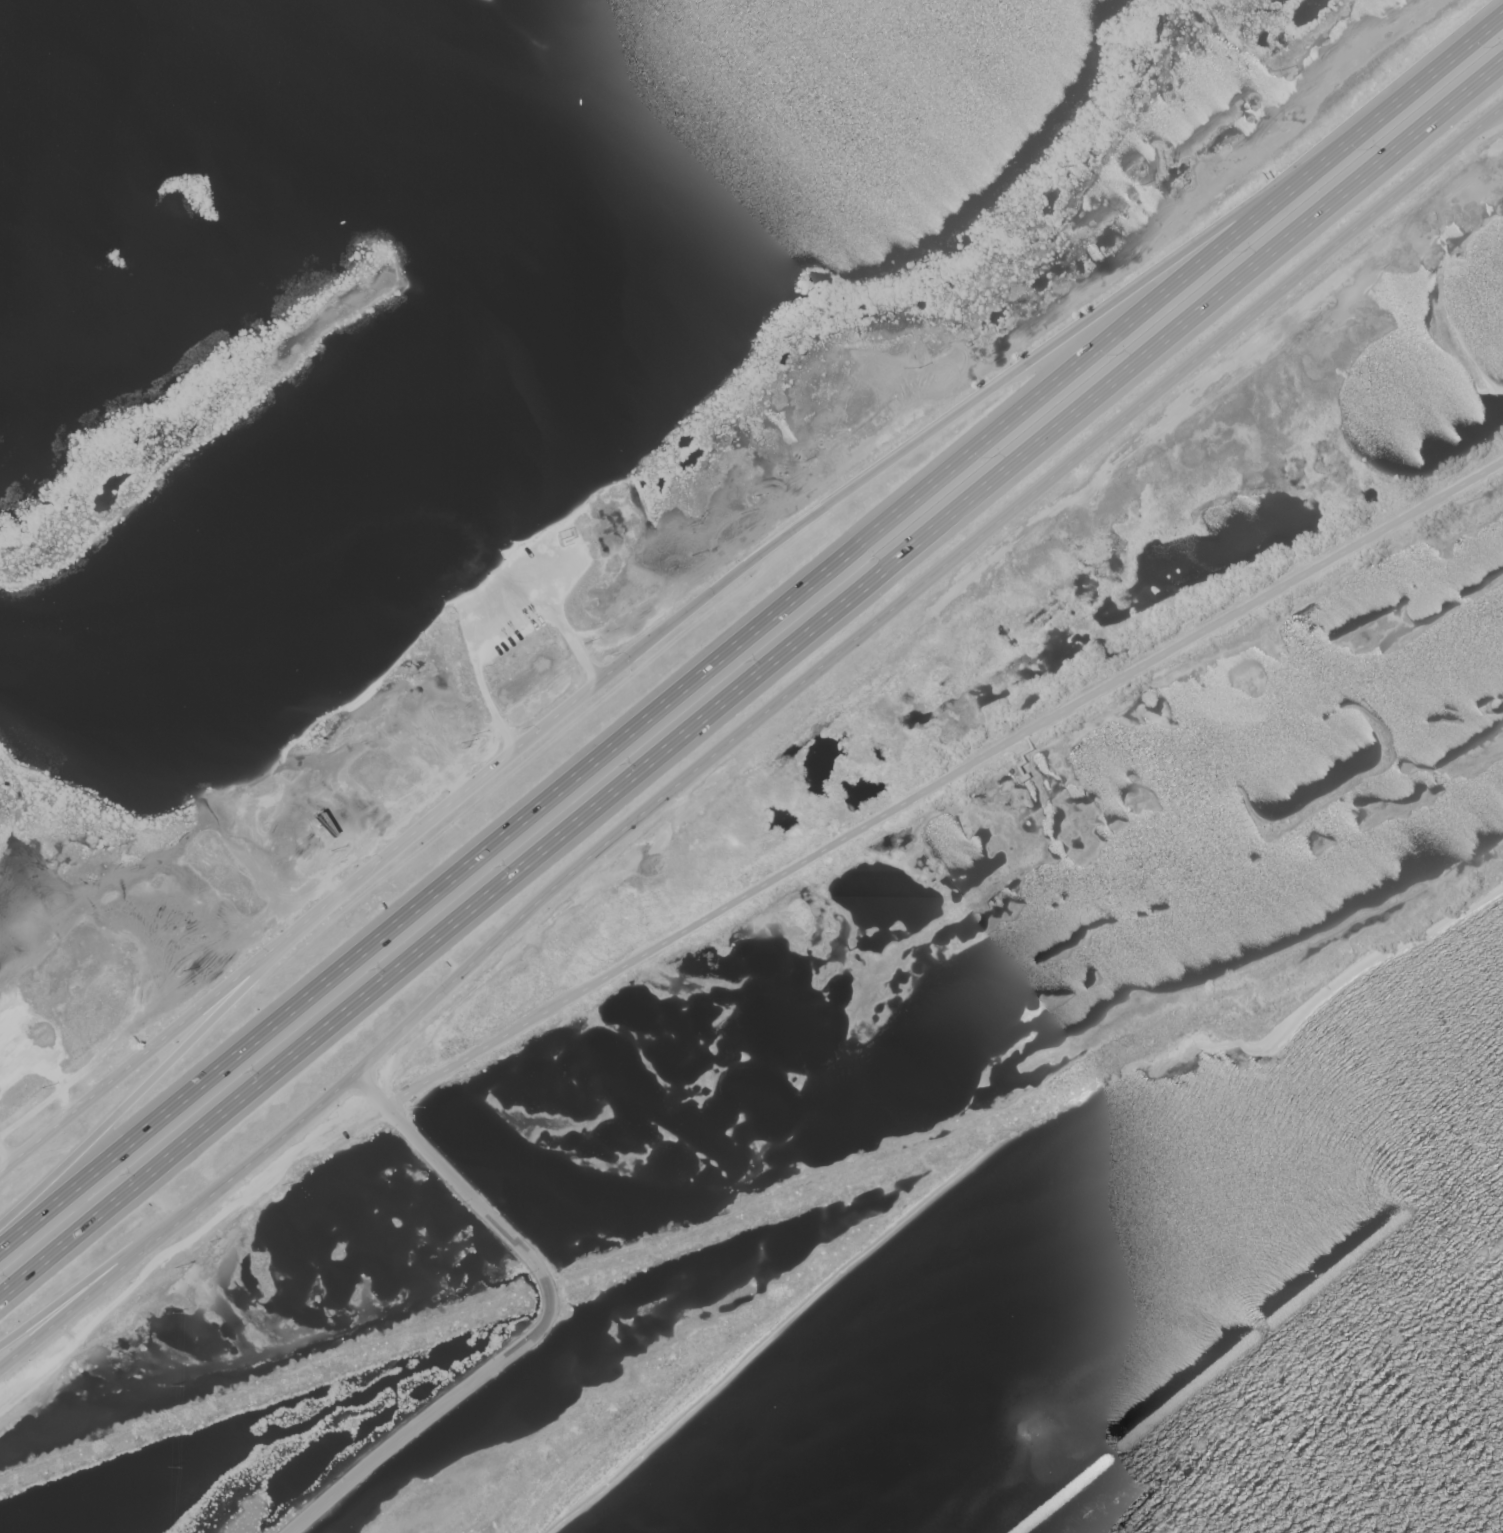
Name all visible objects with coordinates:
road: (968, 410)
road: (923, 584)
road: (750, 633)
road: (751, 679)
road: (1020, 754)
road: (941, 779)
road: (298, 928)
road: (160, 1072)
railway: (765, 1207)
road: (177, 1222)
road: (117, 1257)
road: (541, 1325)
park: (328, 1372)

